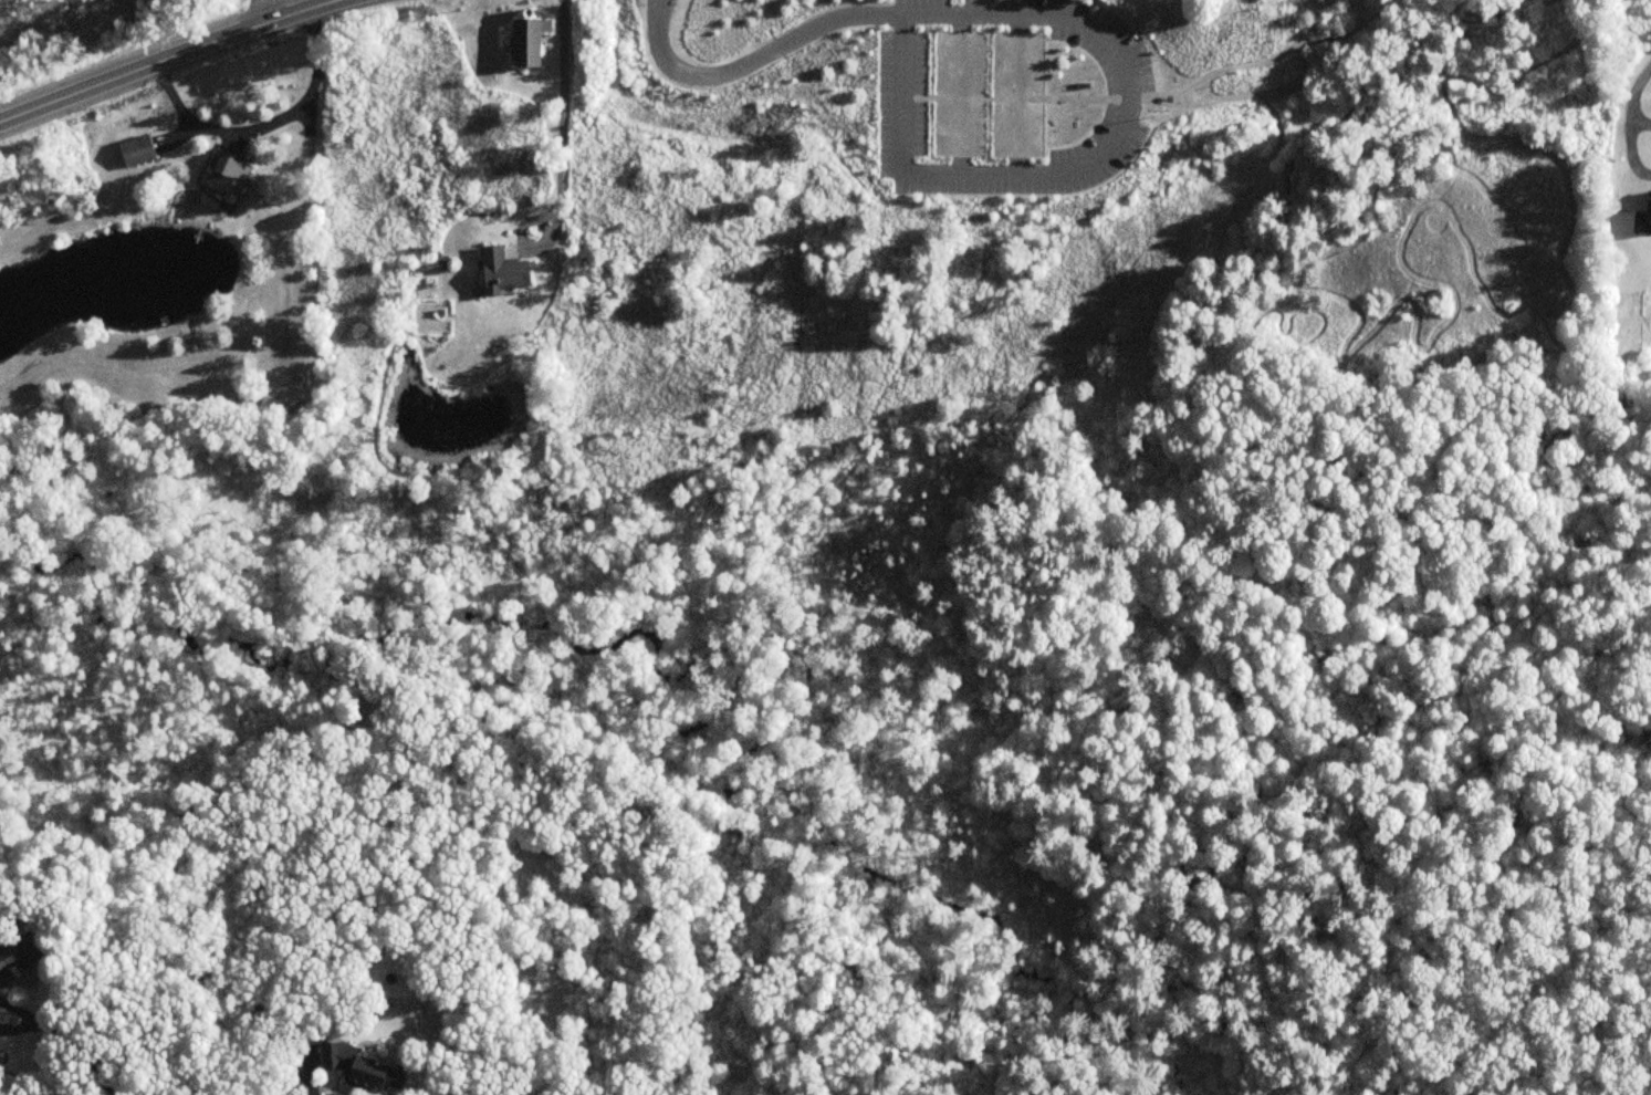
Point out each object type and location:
road: (265, 11)
road: (884, 17)
building: (529, 42)
road: (169, 59)
road: (1266, 61)
road: (1244, 91)
parking lot: (1009, 97)
road: (1628, 108)
road: (563, 121)
road: (261, 123)
building: (136, 153)
road: (963, 173)
building: (228, 174)
building: (502, 273)
building: (268, 406)
park: (1141, 543)
road: (1171, 901)
road: (1605, 901)
road: (1101, 941)
building: (12, 957)
road: (18, 1009)
road: (1438, 1009)
road: (15, 1029)
road: (80, 1054)
road: (1436, 1060)
building: (358, 1067)

